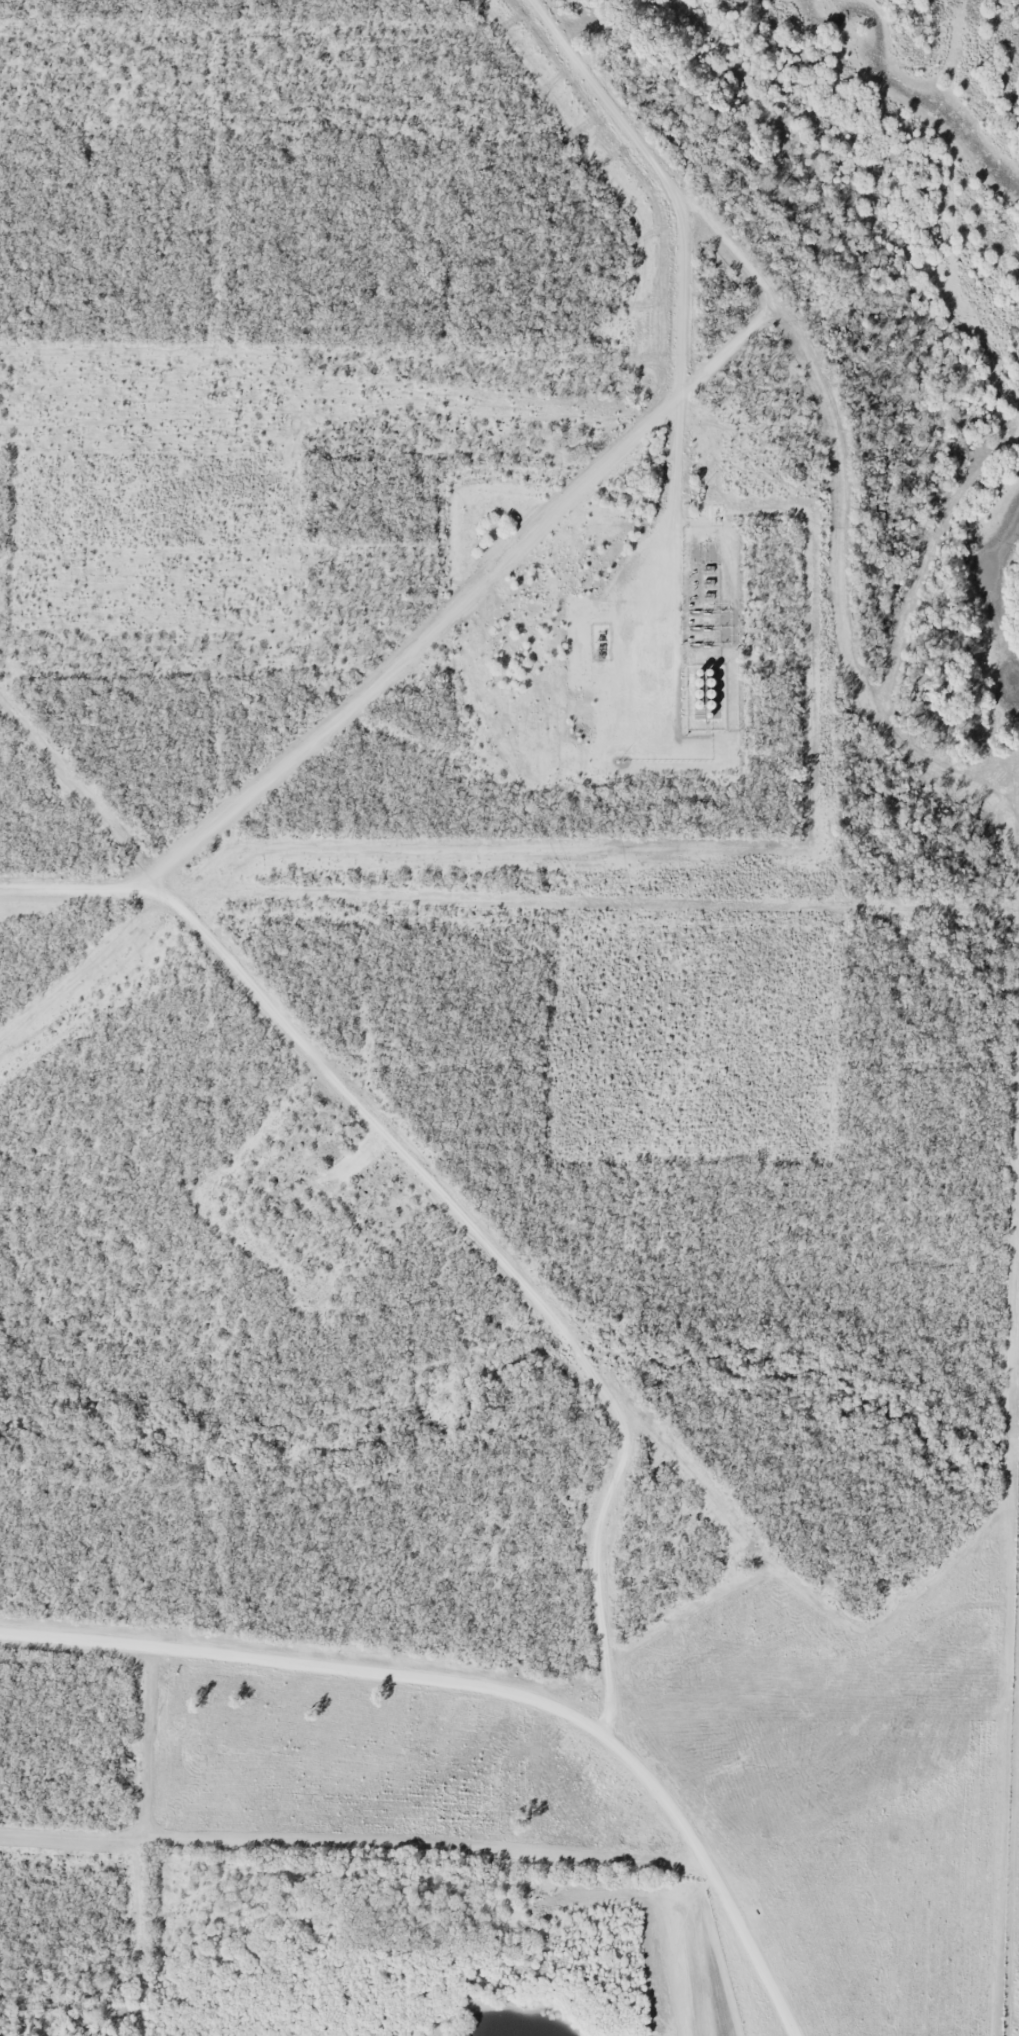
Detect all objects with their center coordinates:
road: (485, 1688)

